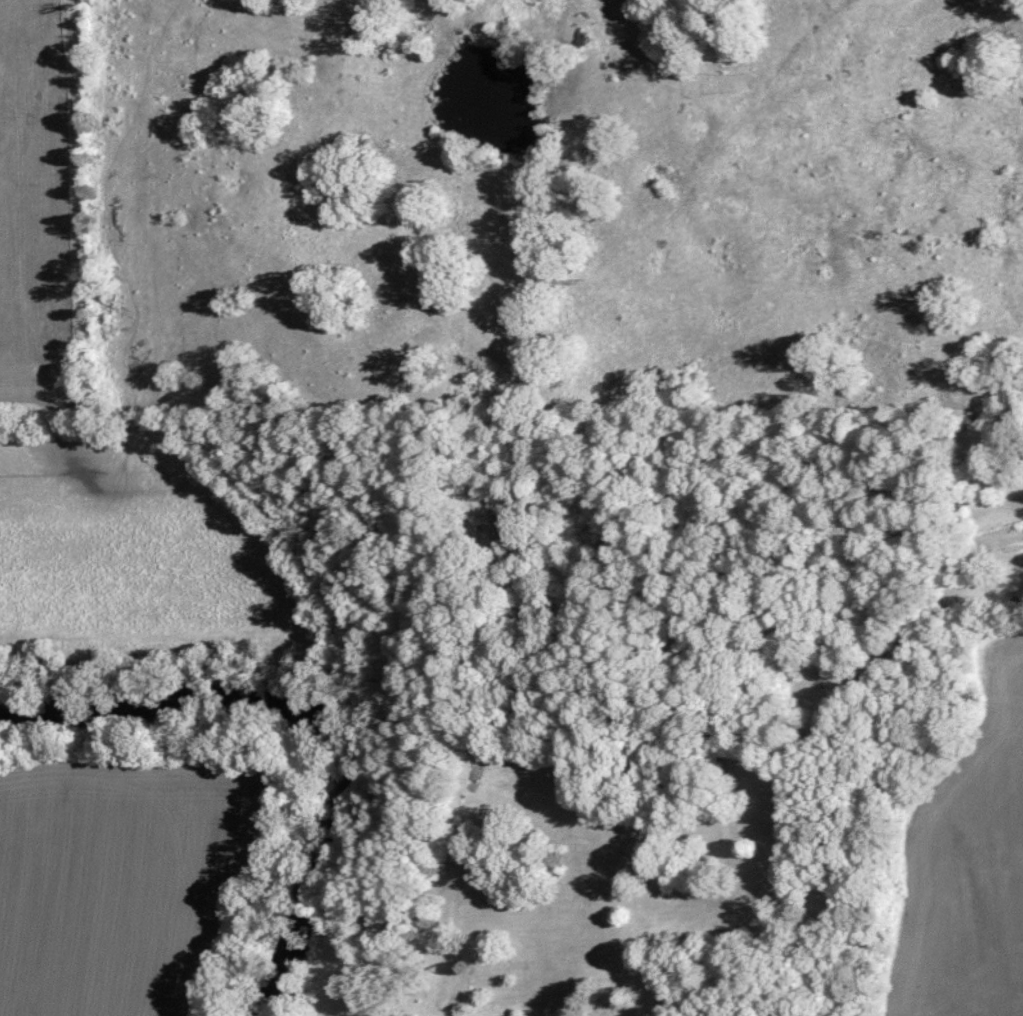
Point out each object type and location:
river: (345, 698)

